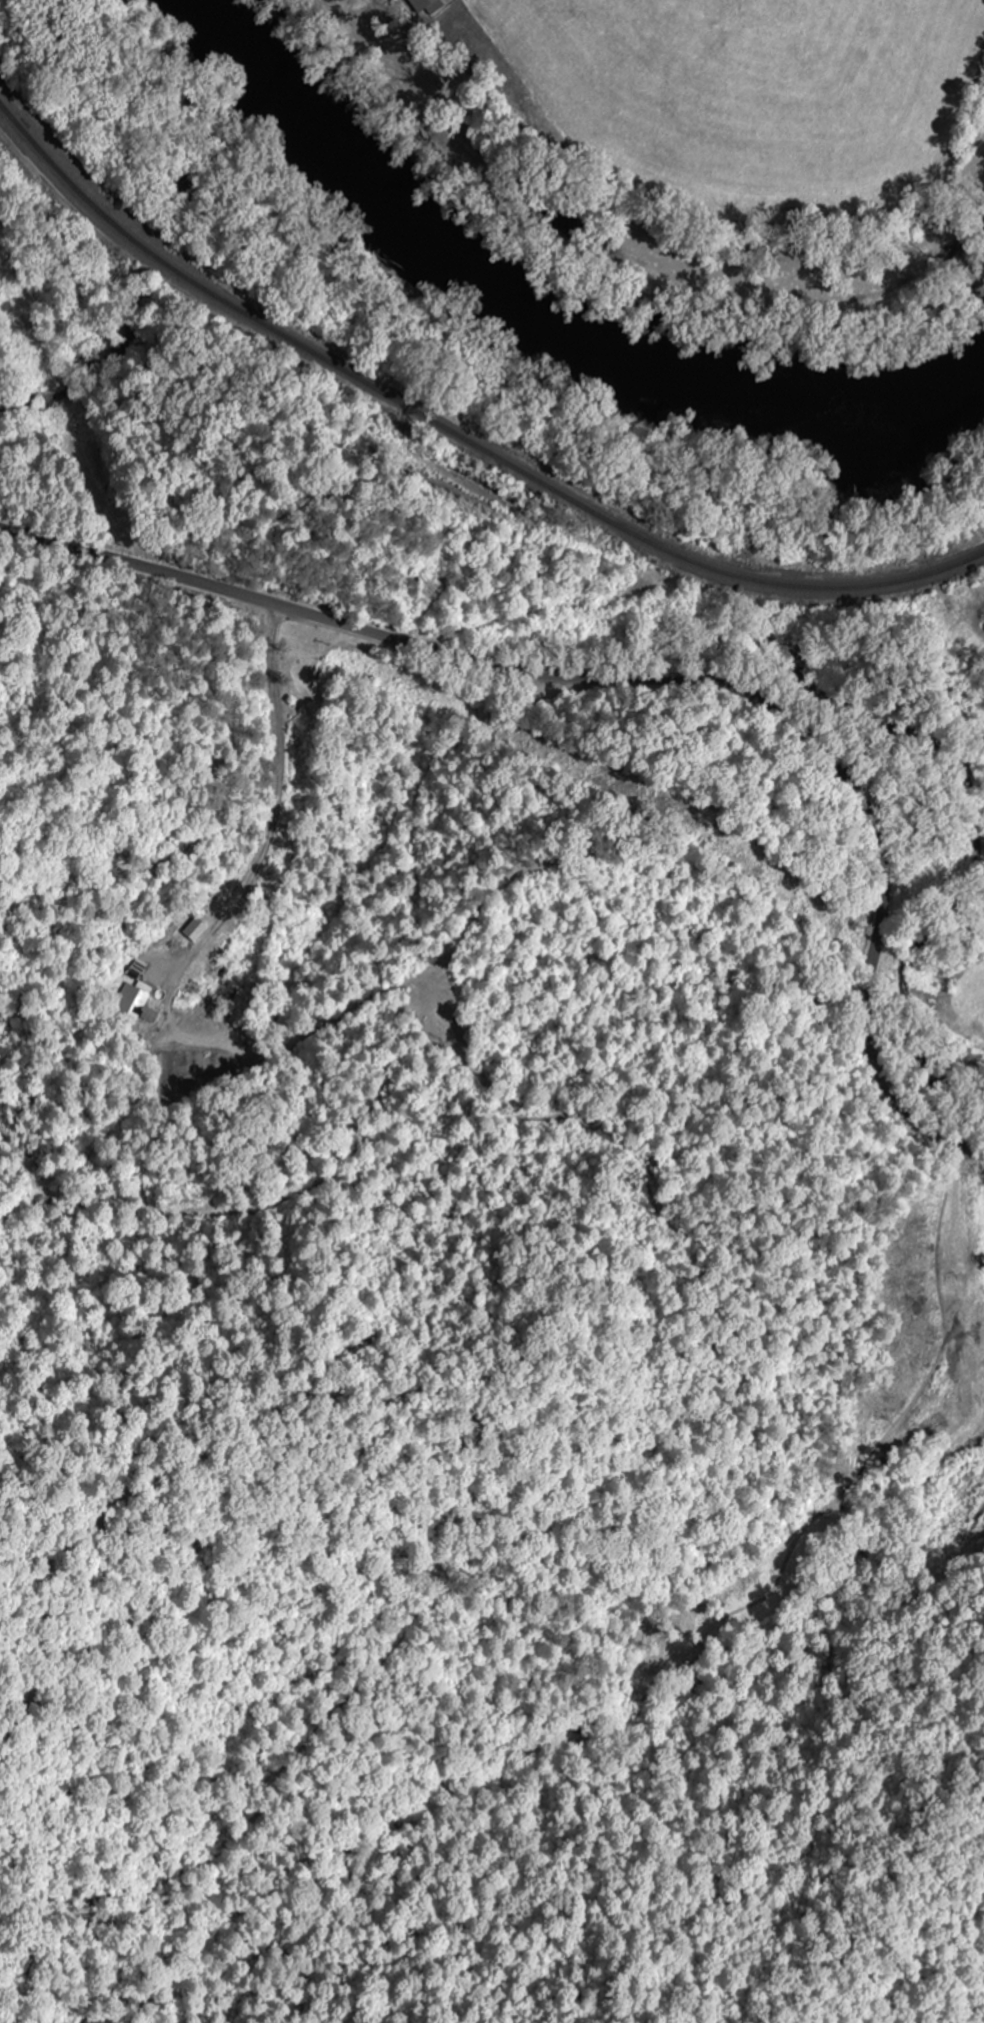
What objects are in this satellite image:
building: (417, 7)
river: (564, 328)
railway: (457, 434)
road: (650, 677)
road: (196, 735)
building: (136, 1003)

